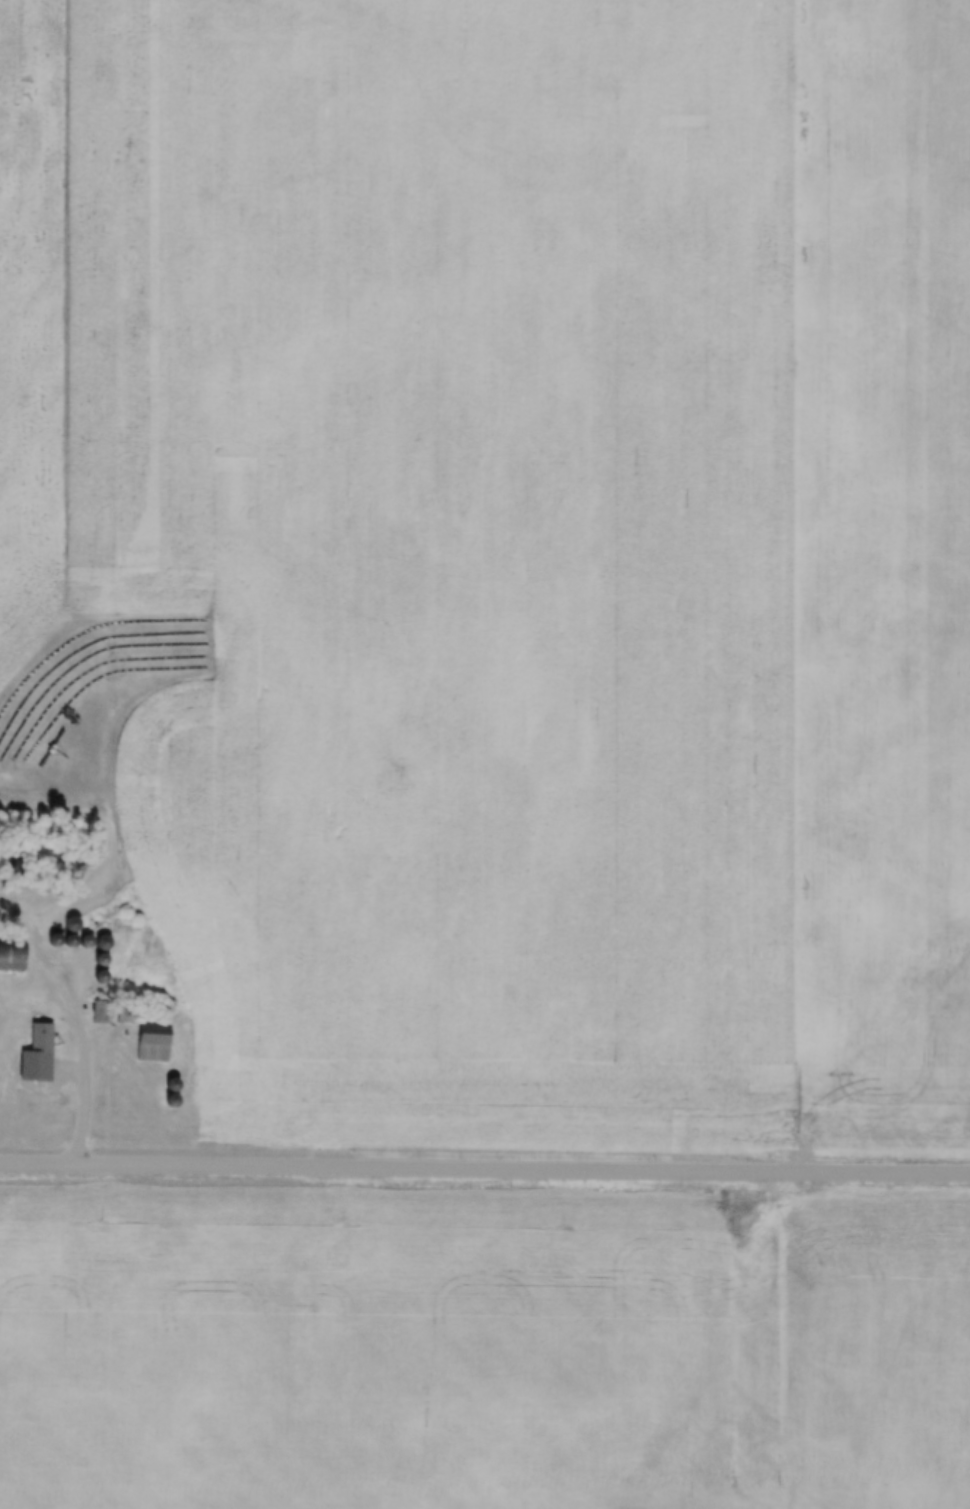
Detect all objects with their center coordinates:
building: (67, 925)
building: (98, 943)
building: (10, 956)
building: (38, 1039)
road: (79, 1041)
building: (150, 1043)
road: (484, 1171)

